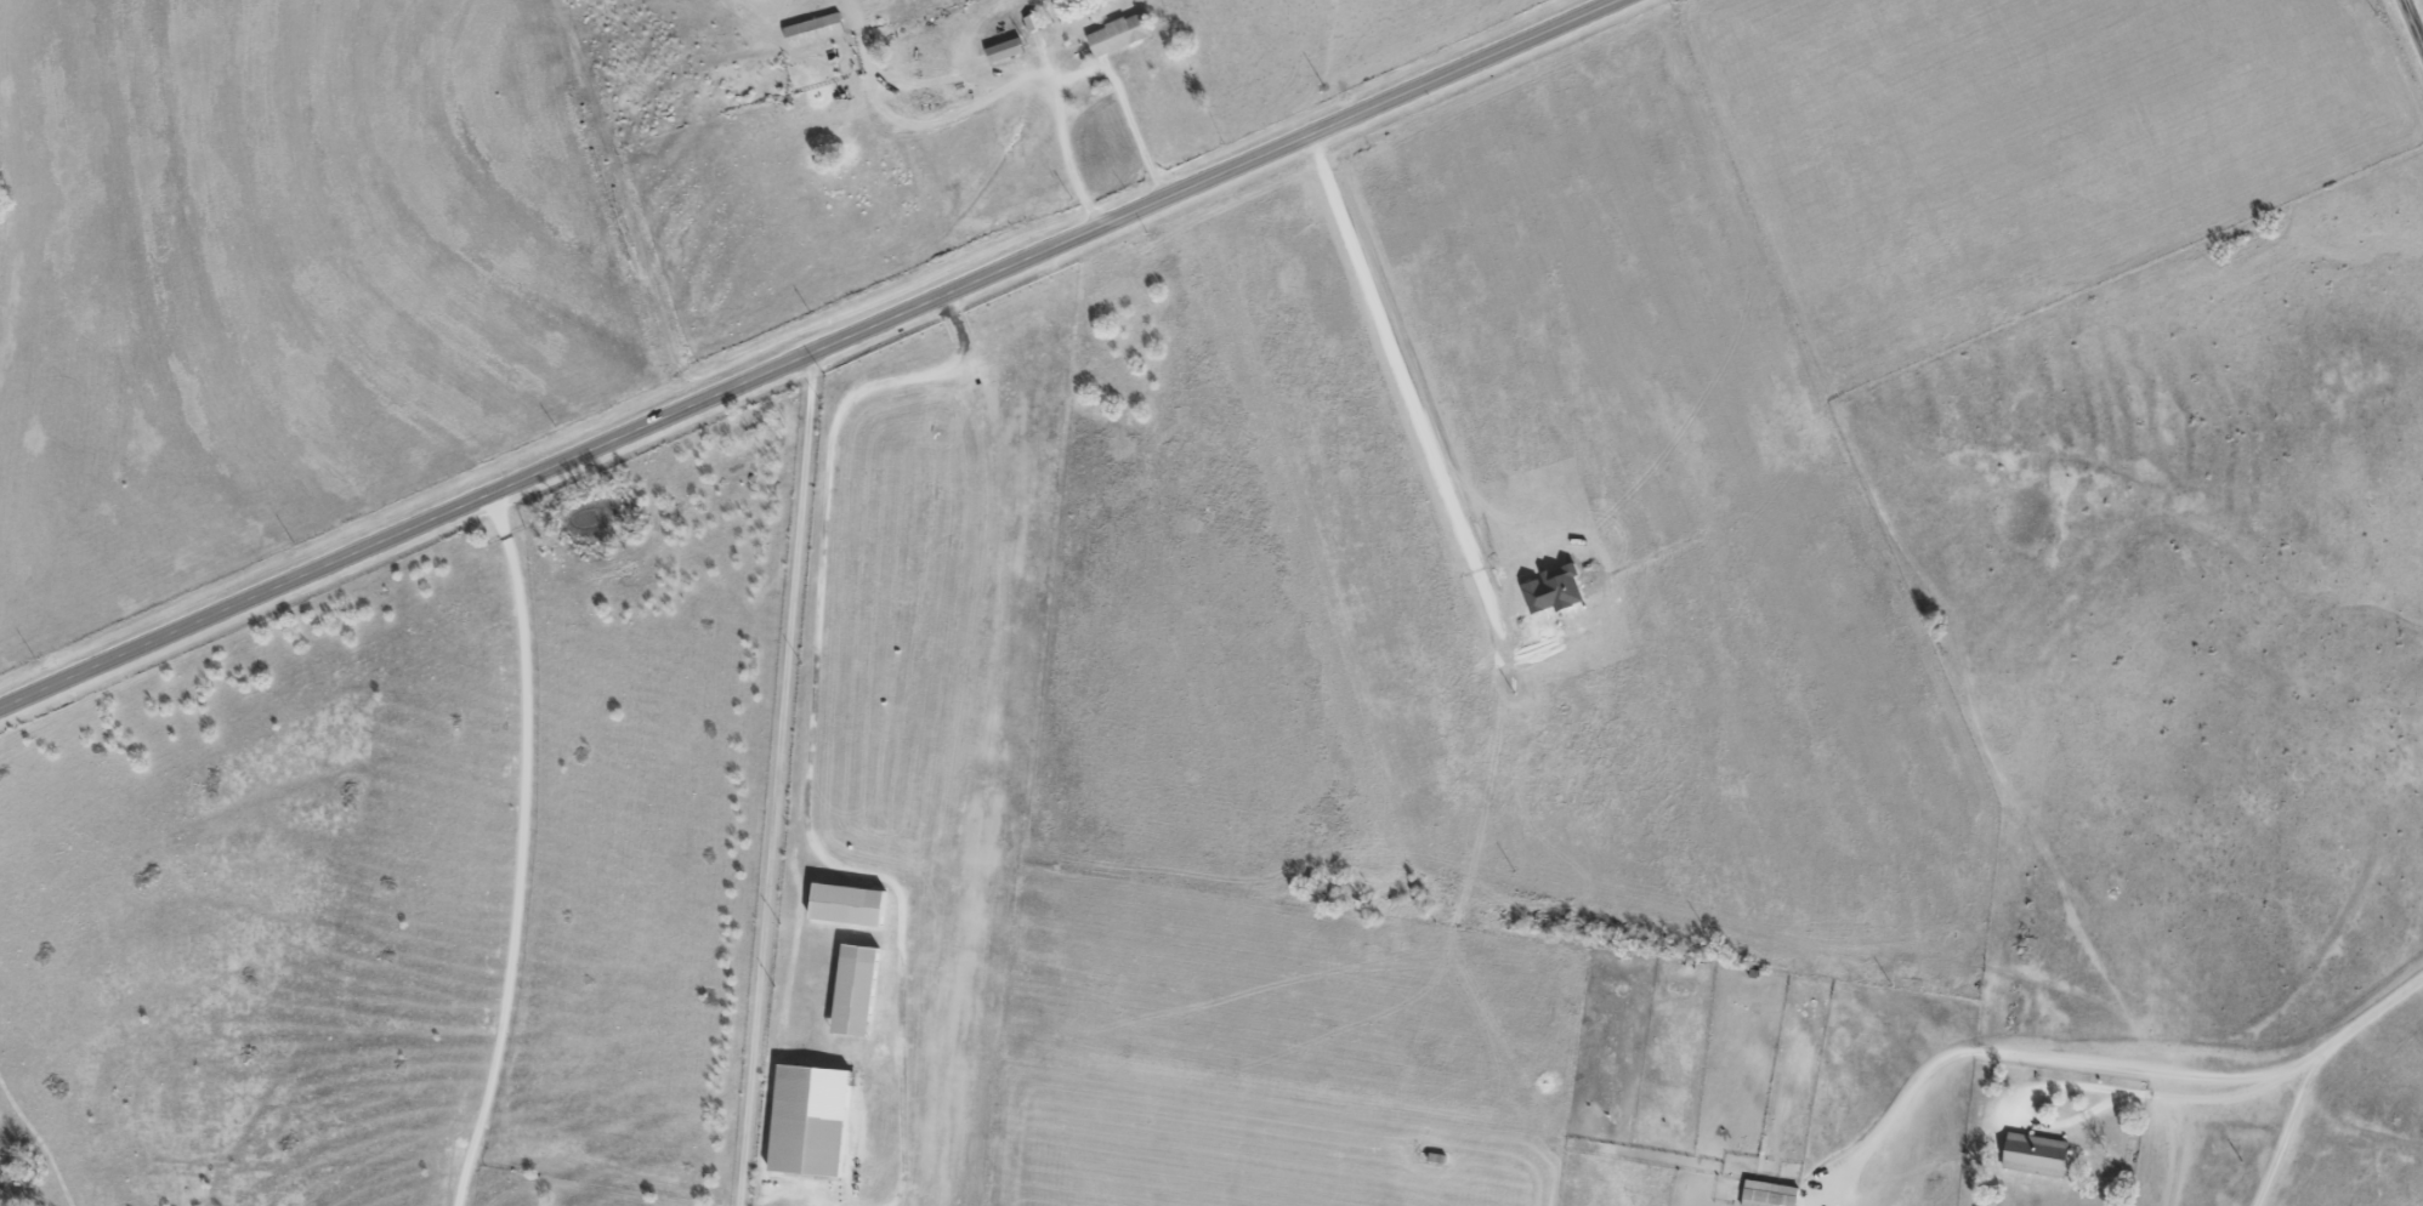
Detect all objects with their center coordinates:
road: (2413, 21)
building: (816, 30)
building: (1120, 34)
building: (1008, 50)
road: (1077, 73)
road: (941, 80)
road: (932, 120)
road: (808, 354)
airport runway: (1028, 359)
road: (806, 733)
road: (772, 780)
airport runway: (987, 792)
road: (522, 851)
building: (851, 903)
road: (2348, 1030)
road: (2013, 1058)
road: (2077, 1086)
building: (813, 1121)
road: (2286, 1131)
building: (2038, 1154)

